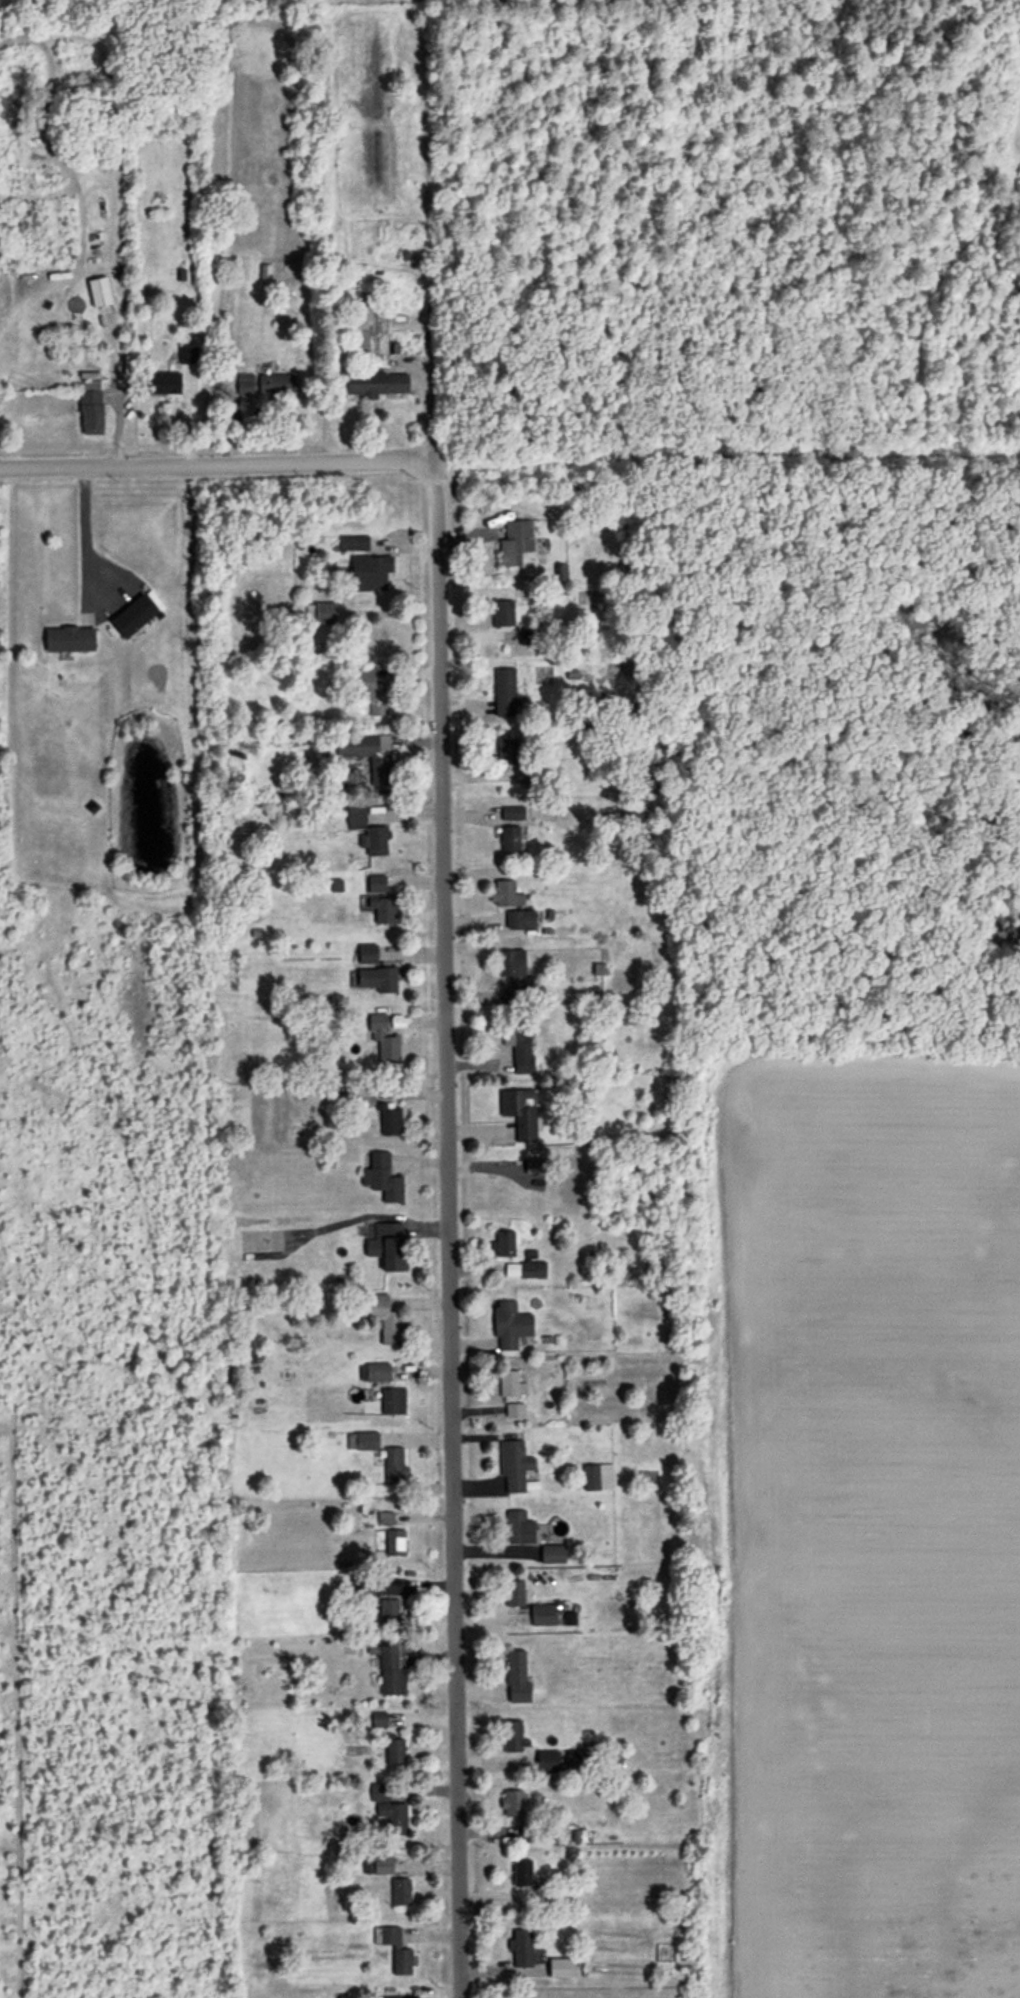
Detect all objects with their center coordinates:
building: (100, 290)
building: (188, 354)
building: (379, 381)
building: (167, 382)
road: (113, 403)
building: (92, 406)
road: (259, 411)
road: (386, 457)
road: (163, 461)
road: (84, 527)
building: (349, 539)
building: (515, 543)
building: (364, 567)
building: (134, 615)
building: (71, 638)
building: (498, 681)
building: (365, 743)
building: (535, 777)
building: (511, 814)
building: (371, 837)
building: (372, 880)
building: (520, 920)
building: (368, 968)
building: (512, 975)
building: (518, 1044)
building: (519, 1113)
building: (534, 1167)
building: (376, 1173)
road: (366, 1214)
road: (448, 1240)
building: (532, 1269)
building: (510, 1326)
building: (512, 1395)
building: (391, 1462)
building: (514, 1467)
building: (598, 1477)
building: (519, 1528)
building: (552, 1554)
building: (514, 1593)
building: (384, 1605)
building: (543, 1615)
building: (516, 1677)
building: (512, 1737)
building: (547, 1762)
building: (576, 1762)
building: (513, 1804)
building: (533, 1834)
building: (522, 1873)
building: (396, 1889)
building: (385, 1933)
building: (522, 1949)
building: (565, 1969)

